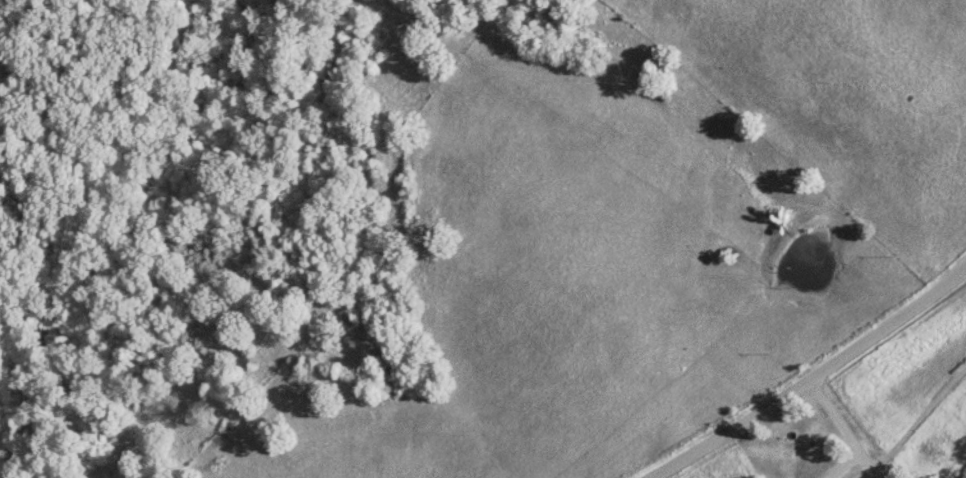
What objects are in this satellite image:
road: (806, 374)
road: (830, 412)
road: (838, 463)
road: (865, 463)

